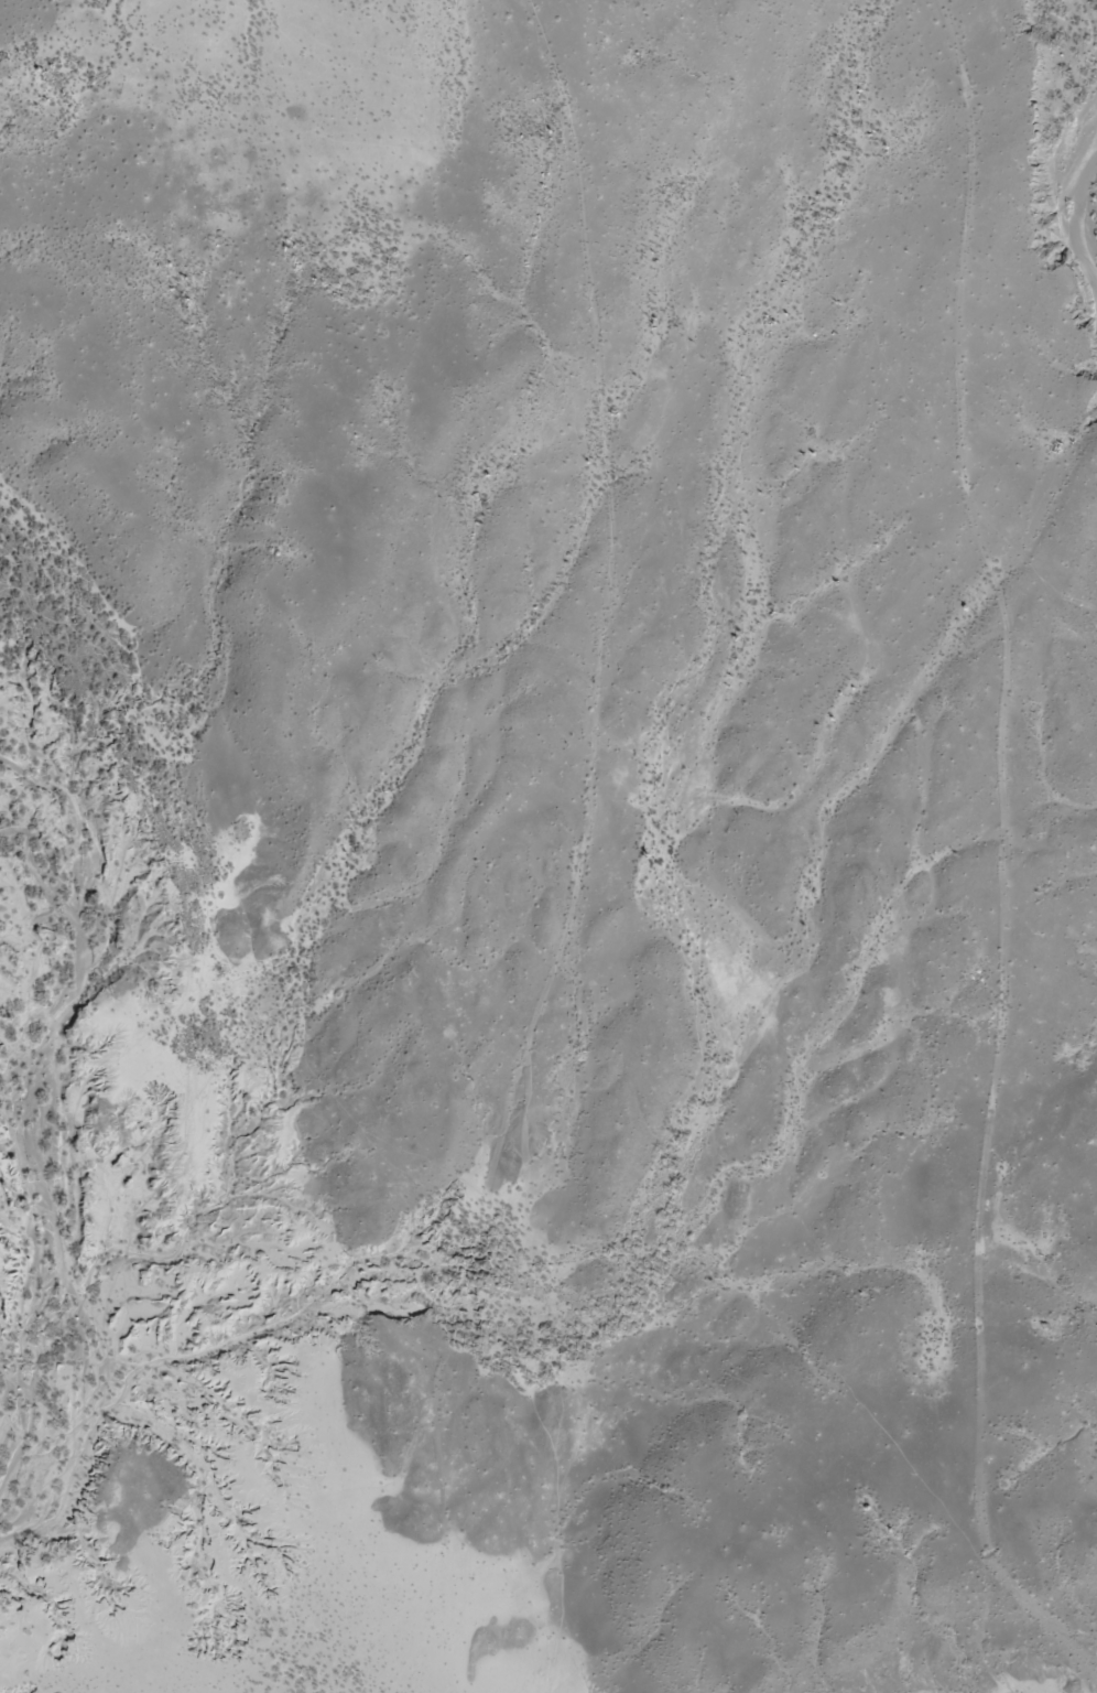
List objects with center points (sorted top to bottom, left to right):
road: (1002, 855)
park: (865, 1503)

